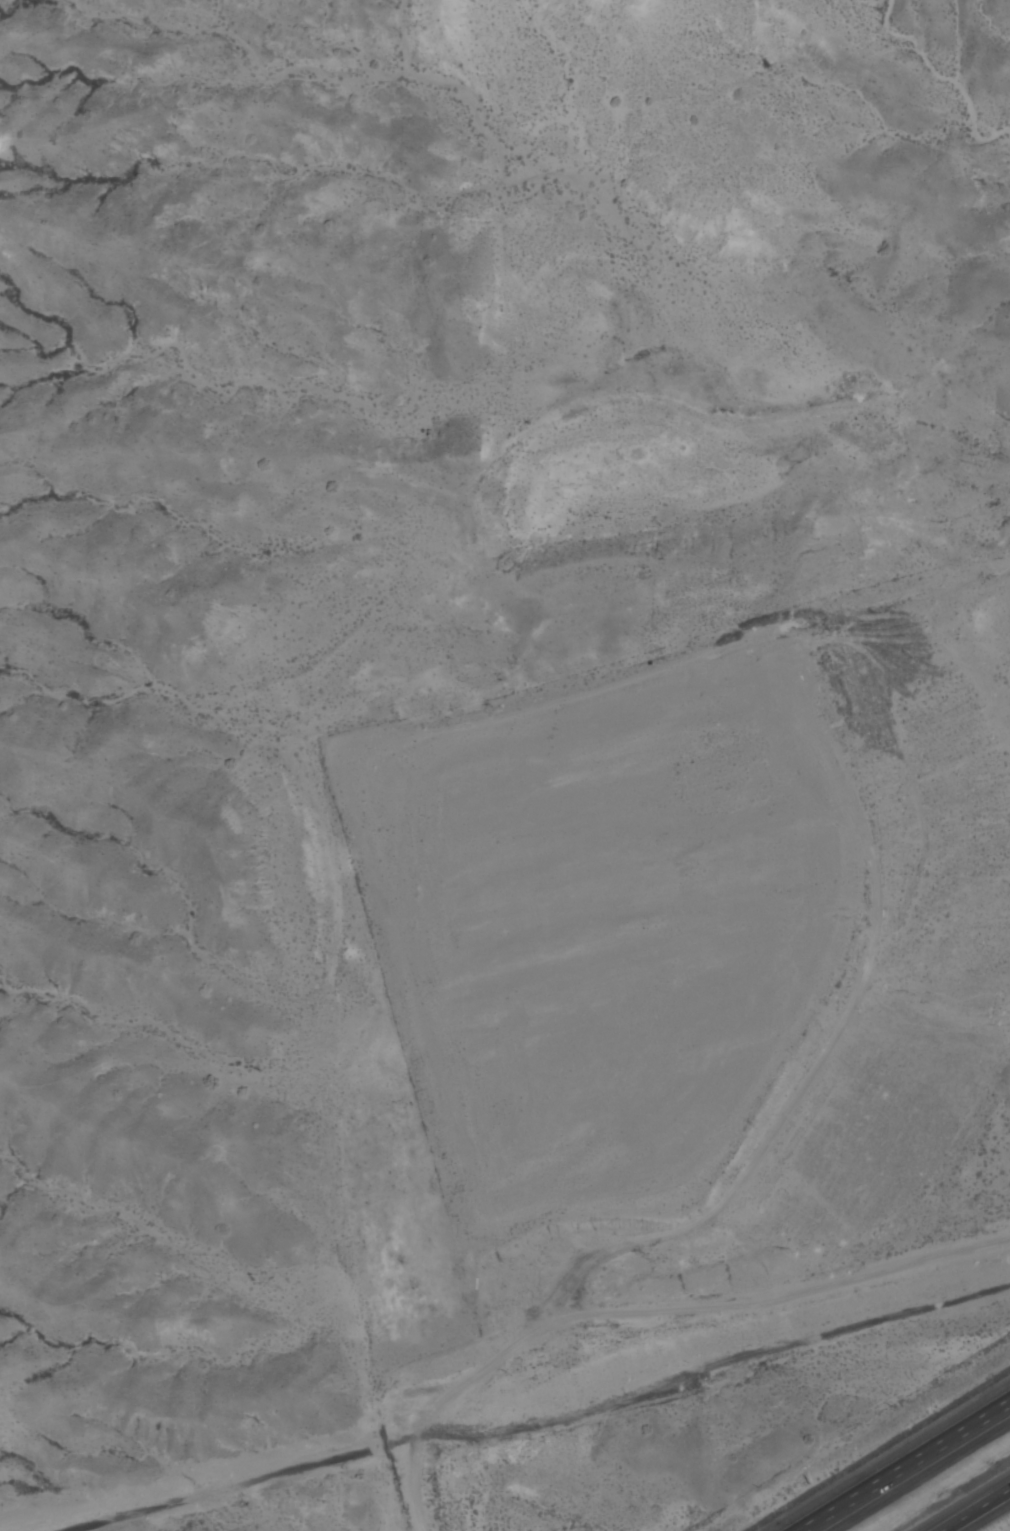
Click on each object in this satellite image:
road: (647, 1310)
road: (902, 1464)
road: (239, 1482)
road: (978, 1511)

